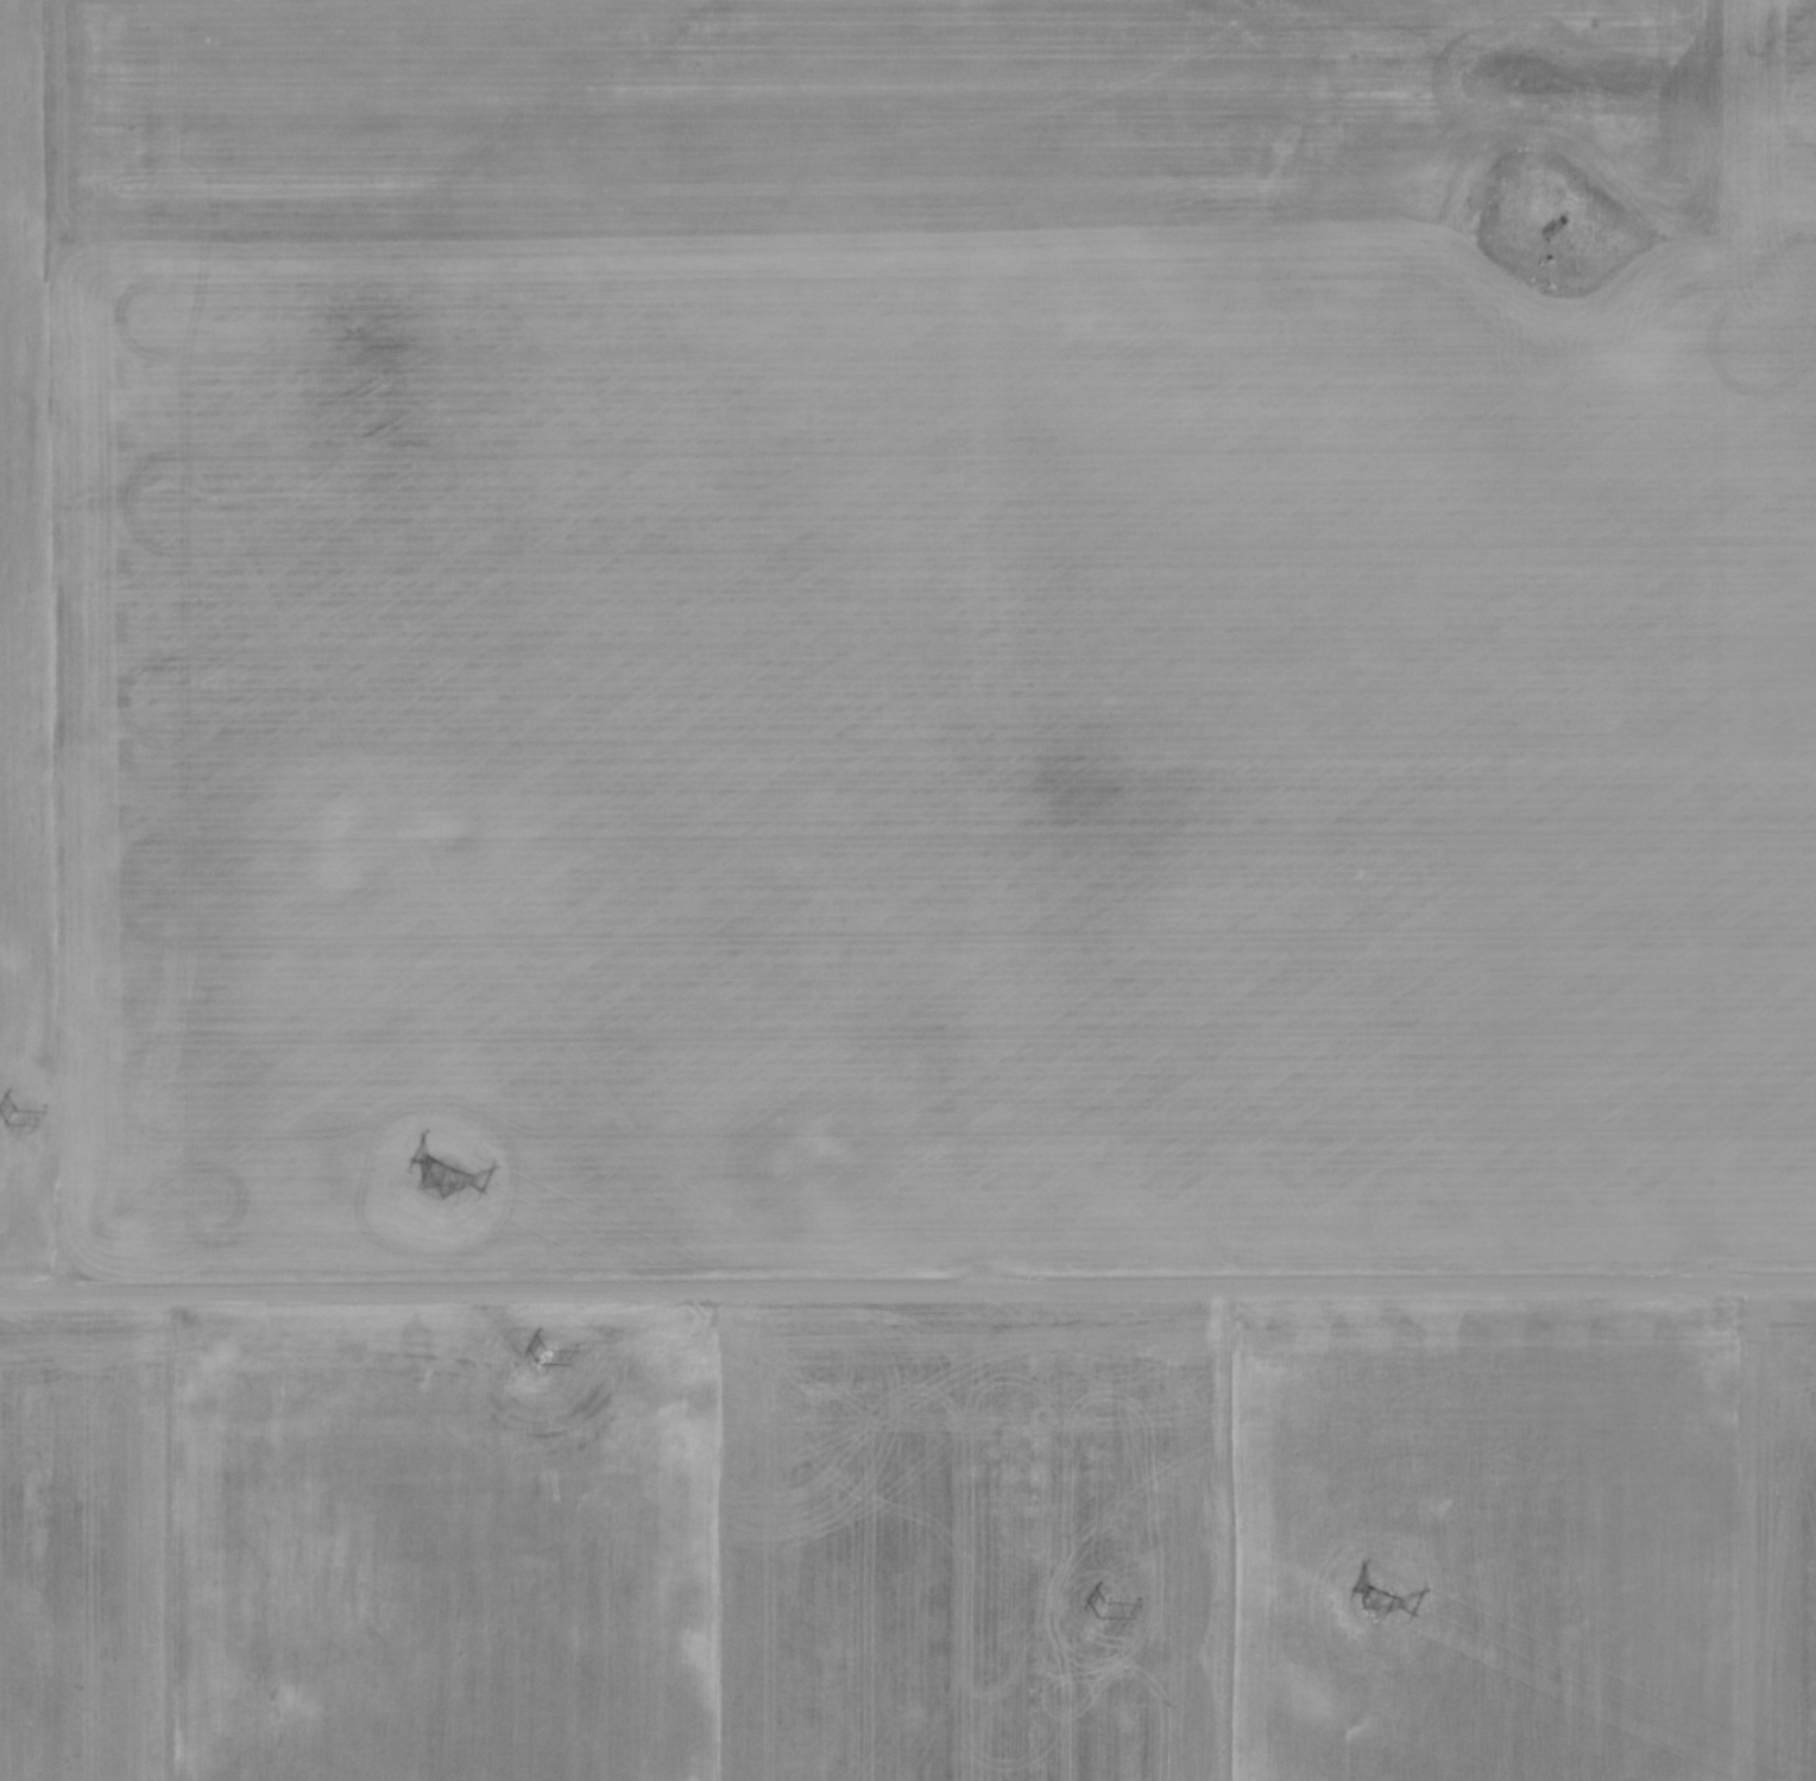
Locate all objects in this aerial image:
crop: (907, 633)
power tower: (12, 1118)
power tower: (440, 1176)
road: (907, 1288)
power tower: (541, 1353)
crop: (912, 1542)
power tower: (1374, 1603)
power tower: (1101, 1605)

